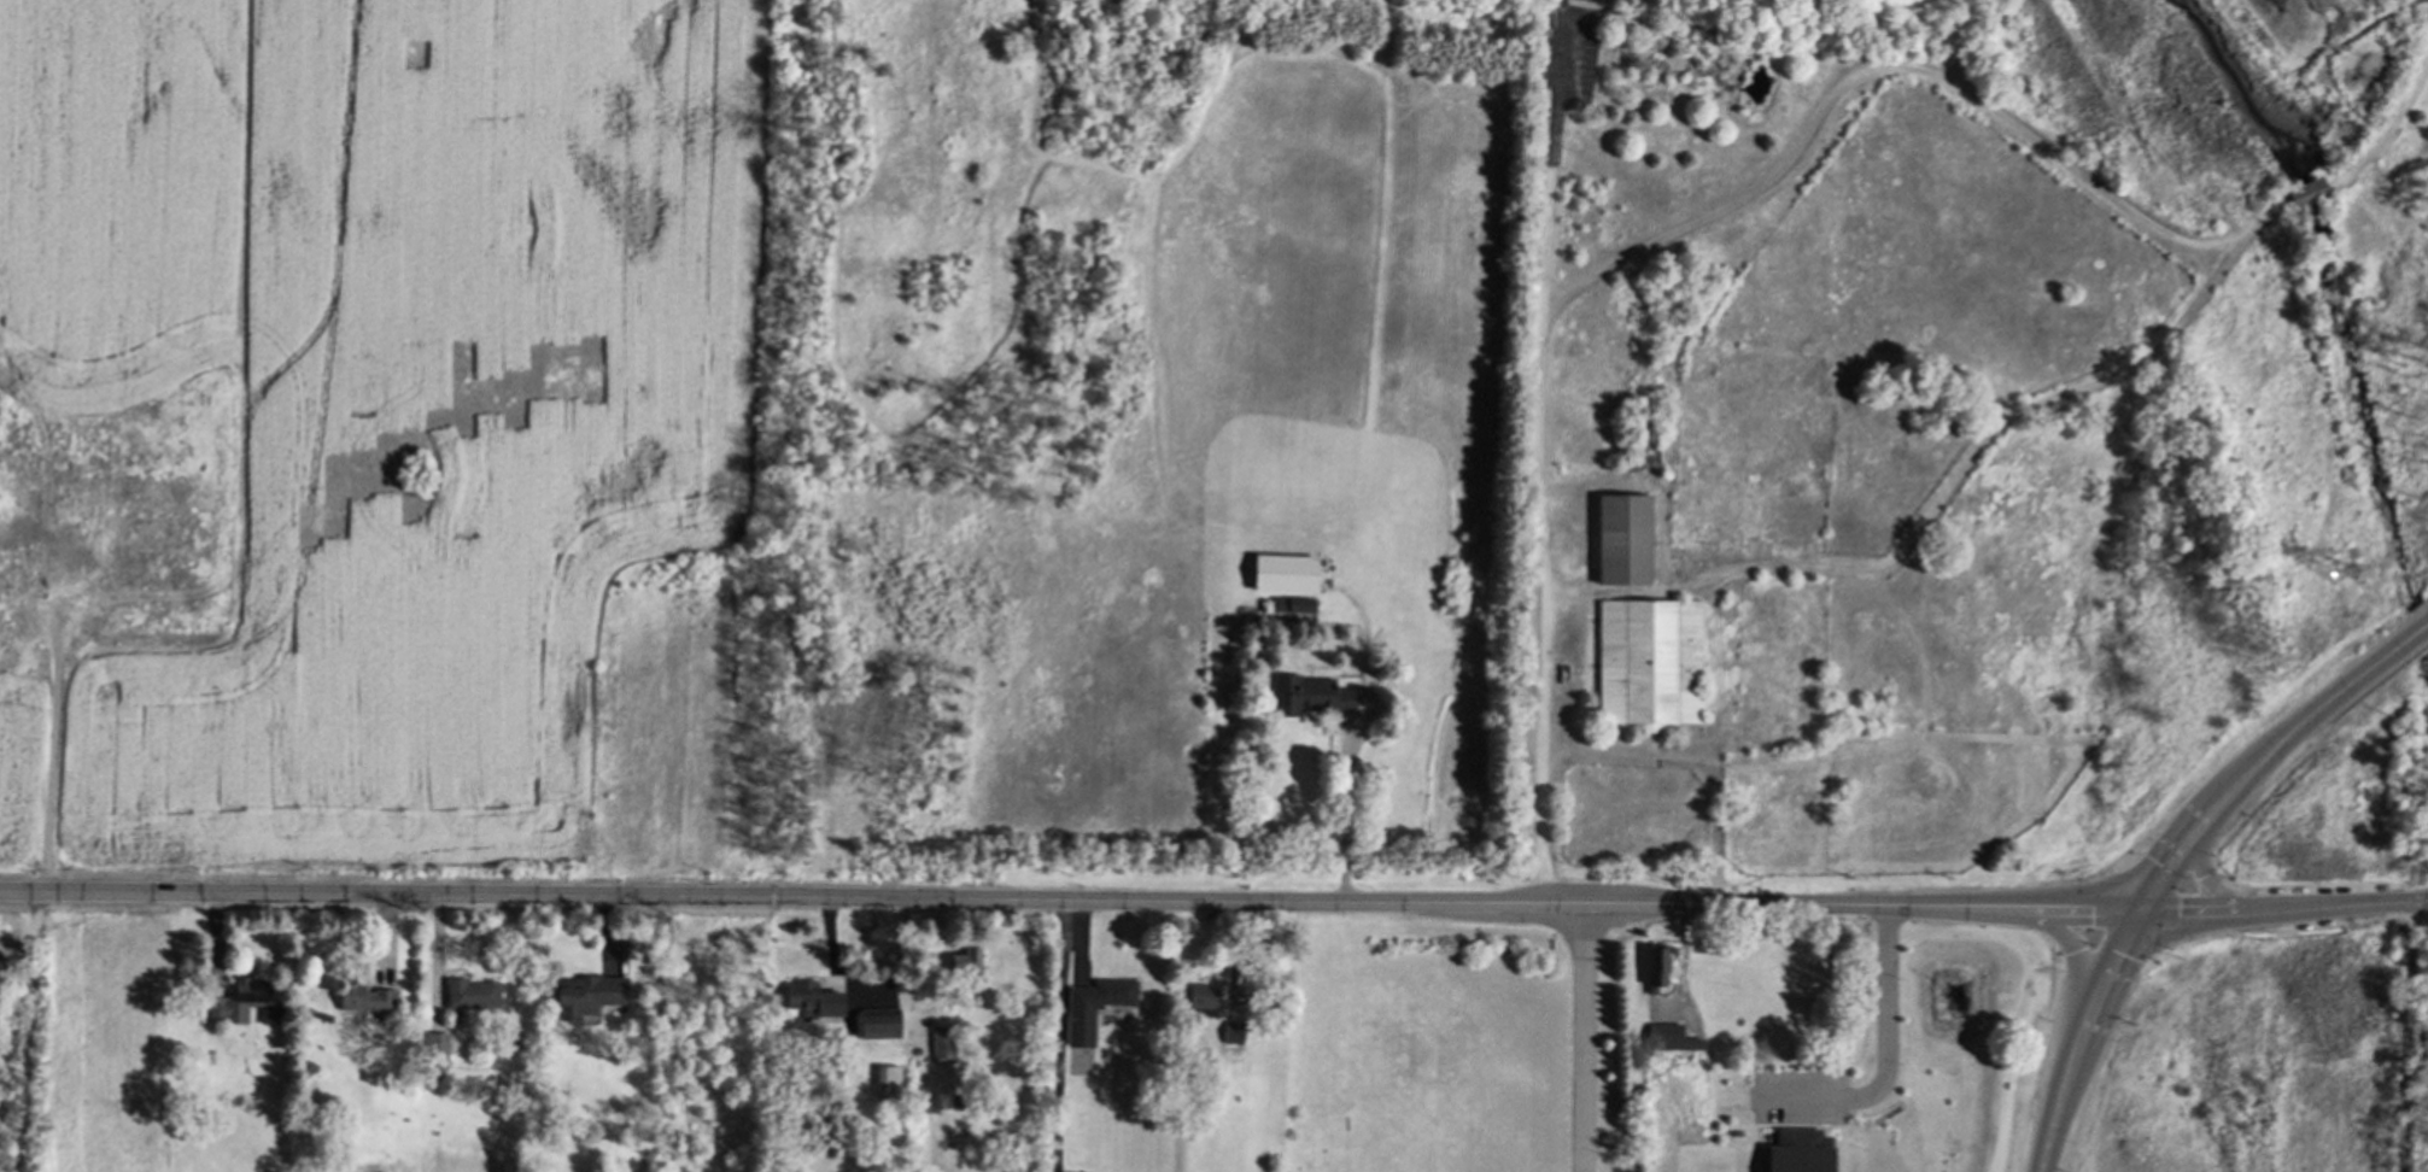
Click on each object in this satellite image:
building: (1586, 0)
building: (2306, 192)
crop: (356, 403)
road: (1537, 459)
building: (1622, 538)
building: (1285, 572)
power tower: (2342, 574)
building: (1293, 604)
building: (1649, 661)
building: (1309, 695)
road: (2311, 708)
road: (2167, 860)
road: (2206, 885)
road: (964, 899)
road: (2352, 904)
road: (2030, 909)
road: (2205, 912)
traffic signals: (2132, 913)
crop: (7, 959)
building: (965, 961)
building: (1655, 967)
road: (2076, 969)
building: (472, 992)
building: (587, 994)
building: (364, 997)
building: (812, 998)
road: (2404, 998)
building: (1203, 1000)
building: (245, 1002)
building: (879, 1022)
building: (1080, 1026)
road: (2082, 1026)
building: (1233, 1031)
road: (1063, 1037)
building: (1669, 1037)
road: (1581, 1038)
building: (942, 1044)
building: (438, 1049)
road: (1883, 1059)
building: (887, 1080)
building: (1798, 1150)
road: (2042, 1159)
road: (1883, 1165)

